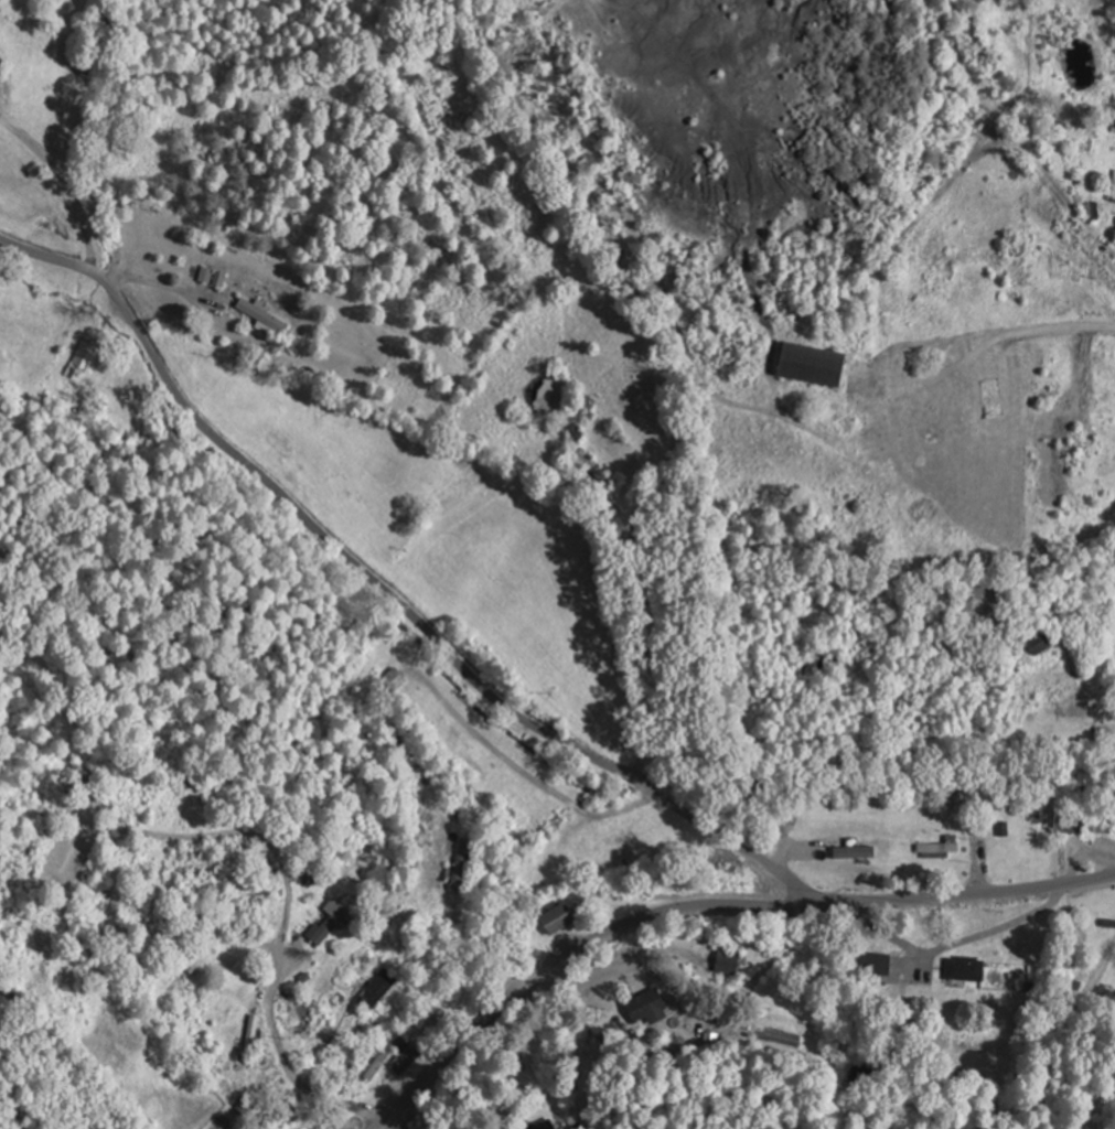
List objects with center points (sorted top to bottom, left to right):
building: (1114, 189)
road: (1061, 197)
building: (207, 275)
building: (265, 315)
building: (86, 355)
building: (818, 364)
building: (593, 470)
road: (387, 595)
building: (1046, 642)
building: (427, 705)
building: (473, 764)
building: (955, 797)
building: (1071, 819)
building: (939, 847)
building: (855, 851)
building: (630, 854)
building: (548, 861)
building: (462, 863)
road: (708, 906)
building: (559, 917)
building: (334, 921)
building: (729, 960)
building: (877, 963)
building: (965, 967)
building: (378, 987)
building: (648, 1008)
building: (427, 1022)
building: (789, 1043)
building: (977, 1045)
building: (328, 1046)
building: (401, 1052)
building: (245, 1105)
building: (543, 1123)
building: (454, 1128)

